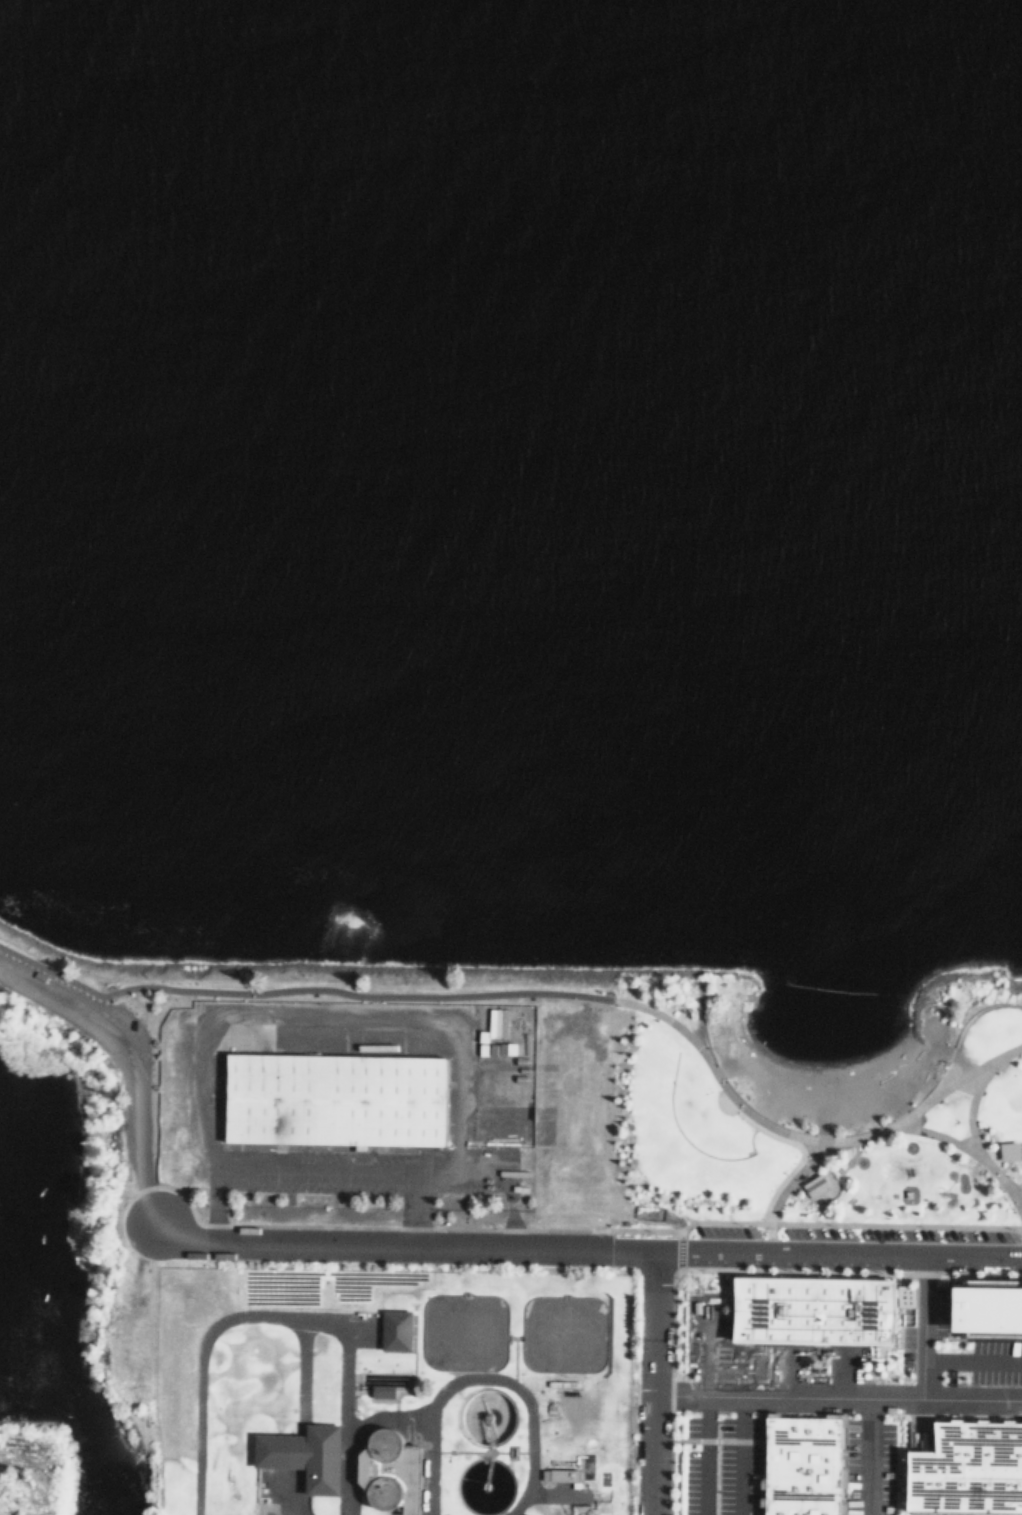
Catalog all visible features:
road: (56, 964)
parking lot: (42, 977)
parking lot: (16, 985)
road: (342, 992)
road: (697, 1018)
road: (966, 1021)
road: (129, 1063)
building: (333, 1100)
road: (969, 1108)
park: (777, 1111)
road: (802, 1138)
park: (98, 1146)
road: (852, 1148)
road: (961, 1148)
building: (1011, 1149)
road: (843, 1166)
road: (820, 1169)
road: (1000, 1169)
road: (836, 1173)
road: (312, 1174)
building: (814, 1185)
road: (785, 1186)
road: (830, 1190)
road: (1011, 1199)
road: (212, 1200)
road: (411, 1205)
road: (586, 1239)
building: (994, 1310)
building: (812, 1311)
road: (279, 1316)
road: (916, 1316)
building: (394, 1329)
road: (968, 1348)
road: (301, 1370)
road: (490, 1377)
road: (647, 1378)
road: (834, 1386)
wastewater plant: (401, 1389)
road: (706, 1398)
building: (579, 1407)
storage tank: (579, 1407)
road: (742, 1450)
road: (857, 1450)
building: (301, 1455)
road: (428, 1463)
building: (799, 1465)
park: (33, 1470)
building: (970, 1470)
building: (567, 1475)
road: (286, 1497)
building: (577, 1512)
storage tank: (577, 1512)

